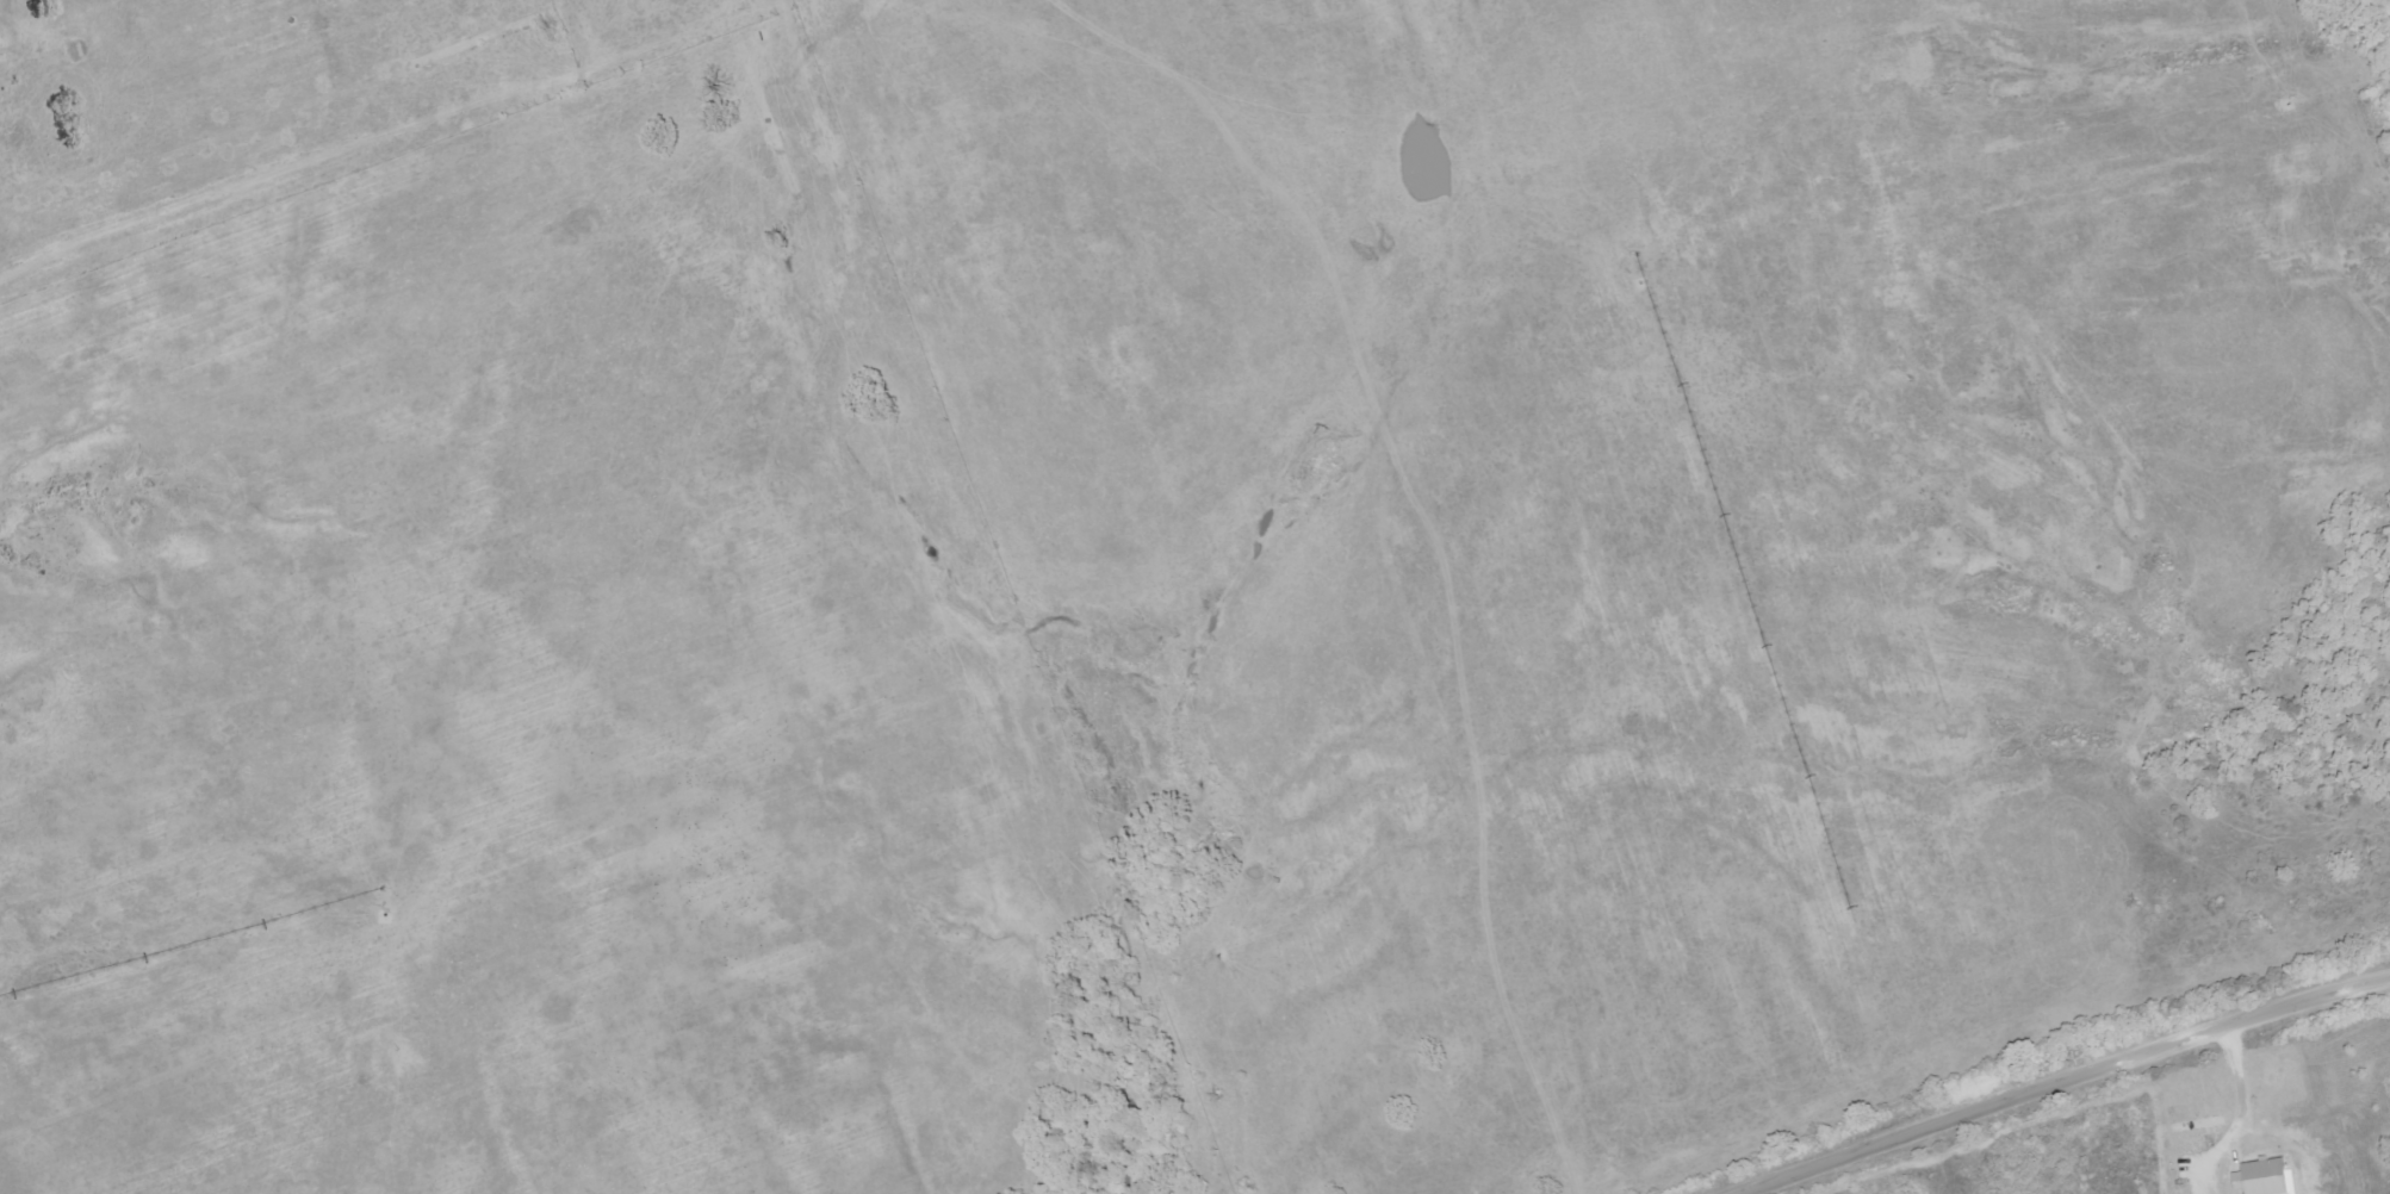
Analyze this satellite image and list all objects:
road: (2065, 1078)
road: (2243, 1115)

